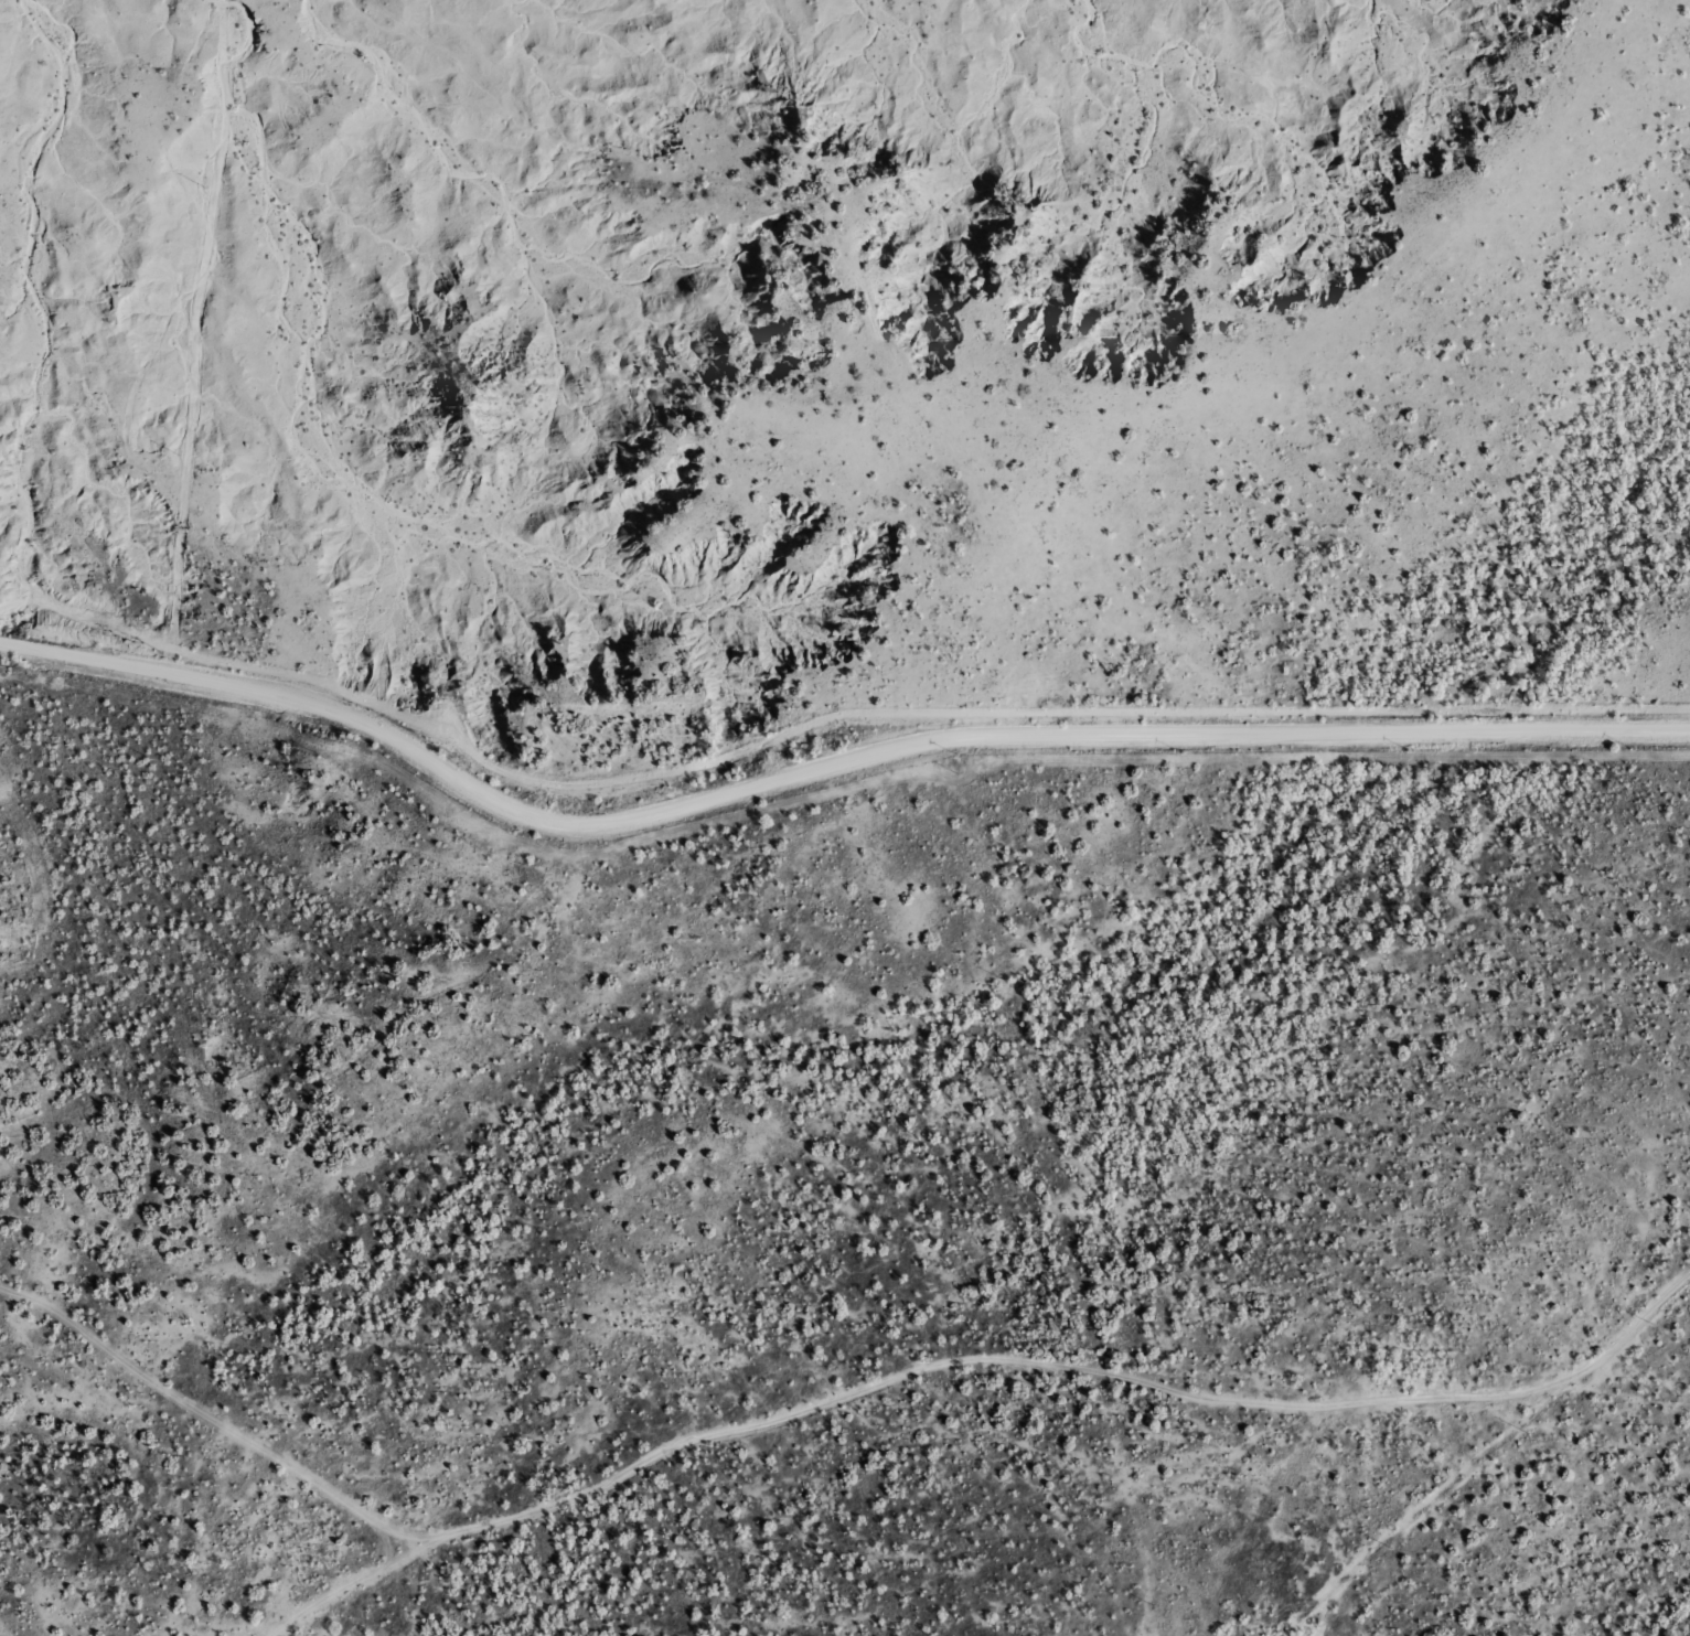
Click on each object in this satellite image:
road: (827, 770)
road: (988, 1360)

